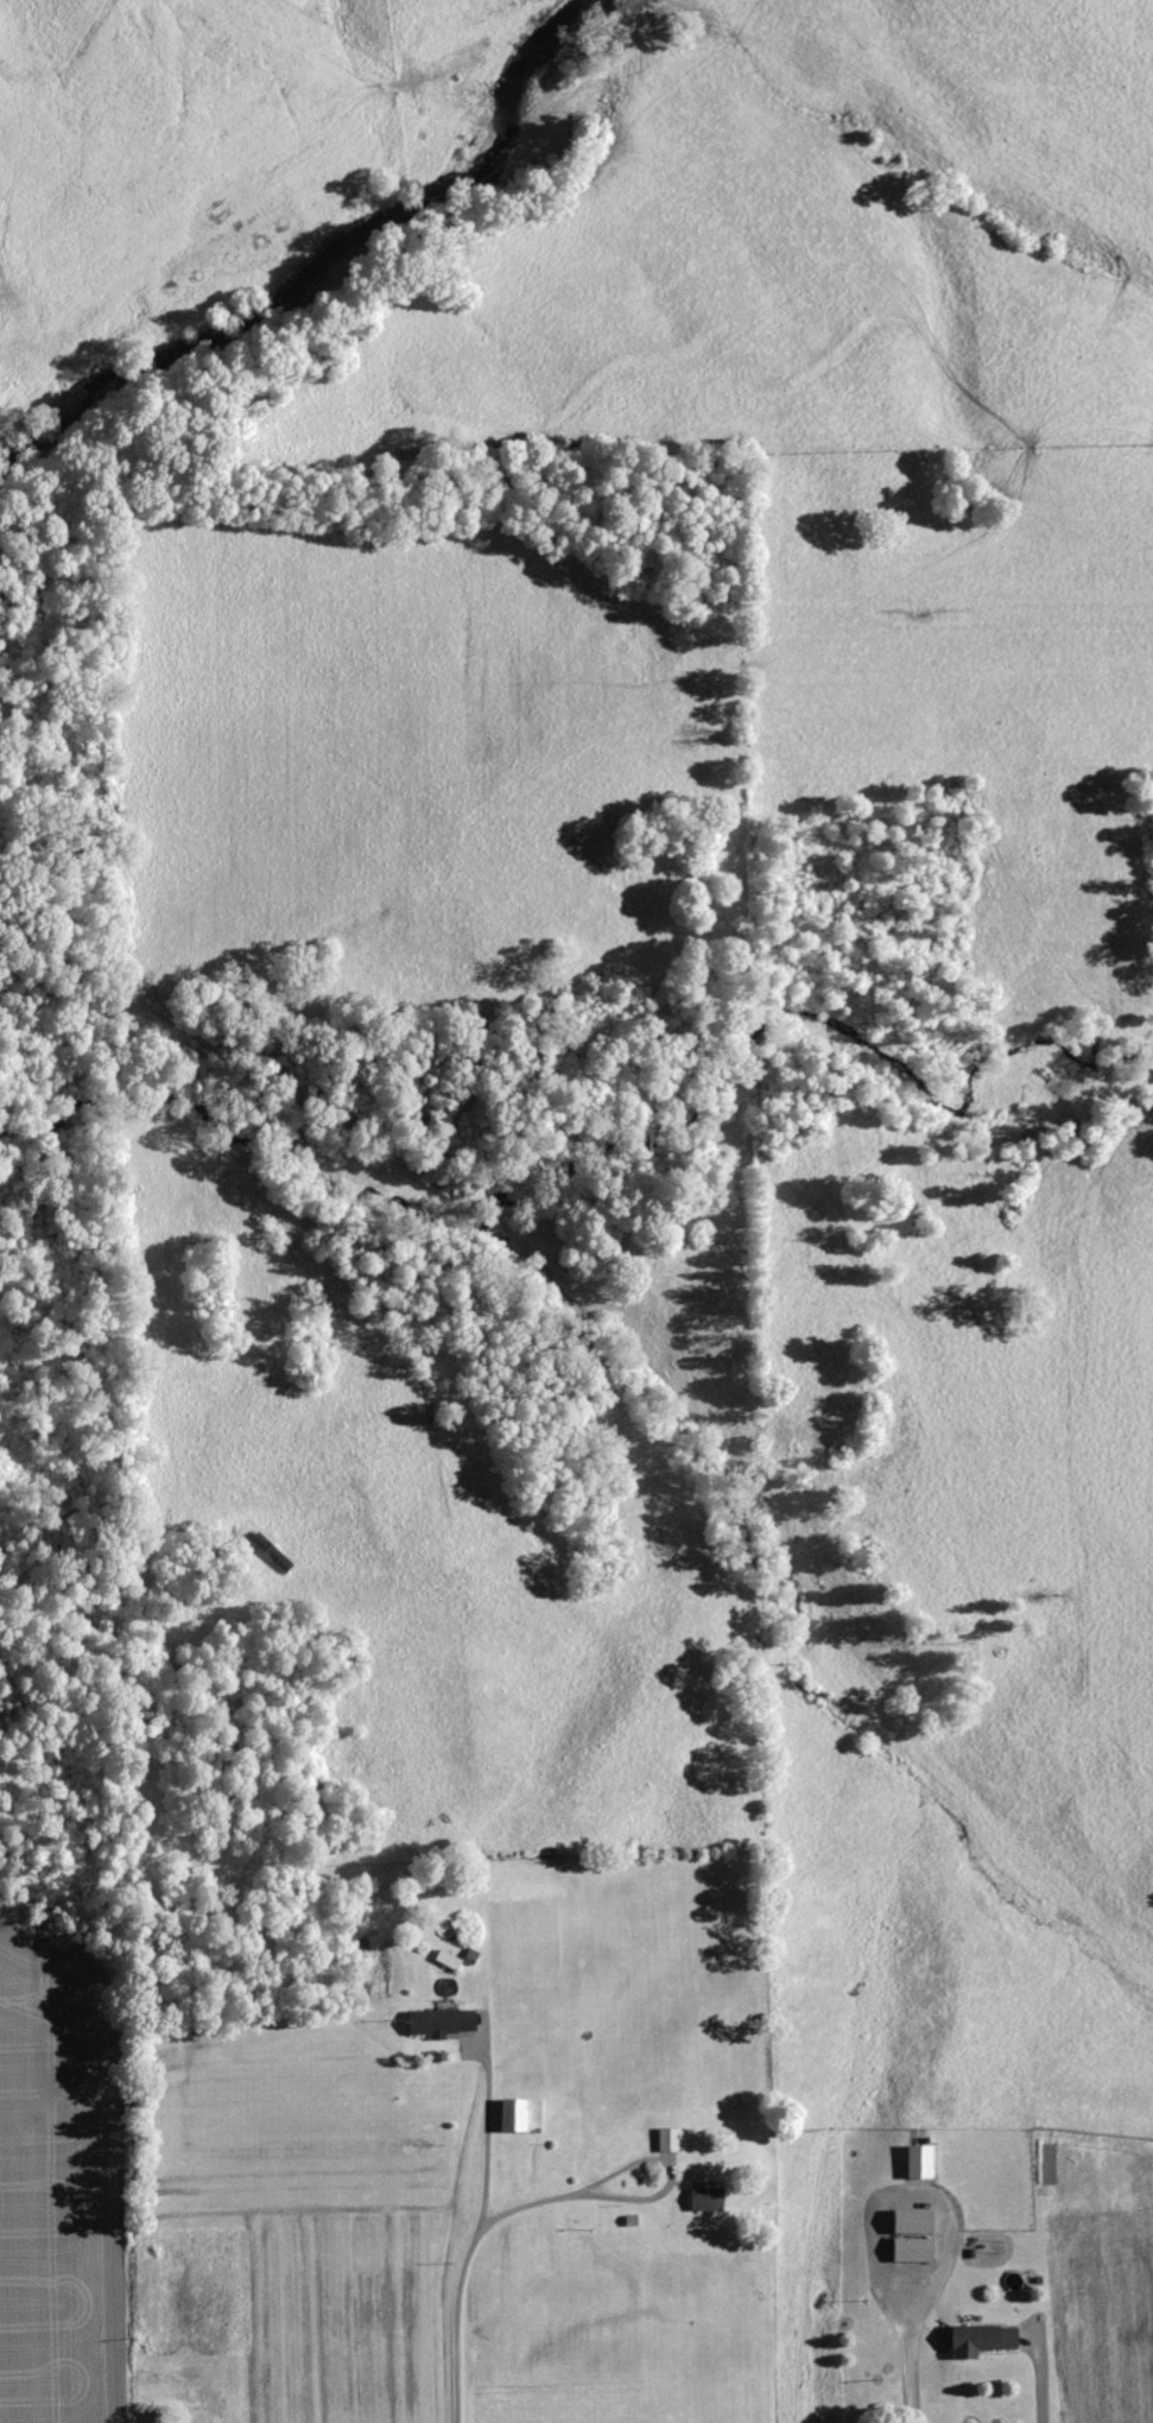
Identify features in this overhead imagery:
river: (316, 251)
building: (449, 1959)
building: (441, 2022)
building: (921, 2162)
road: (646, 2196)
building: (708, 2199)
building: (914, 2250)
road: (461, 2266)
building: (984, 2339)
road: (905, 2353)
building: (152, 2417)

